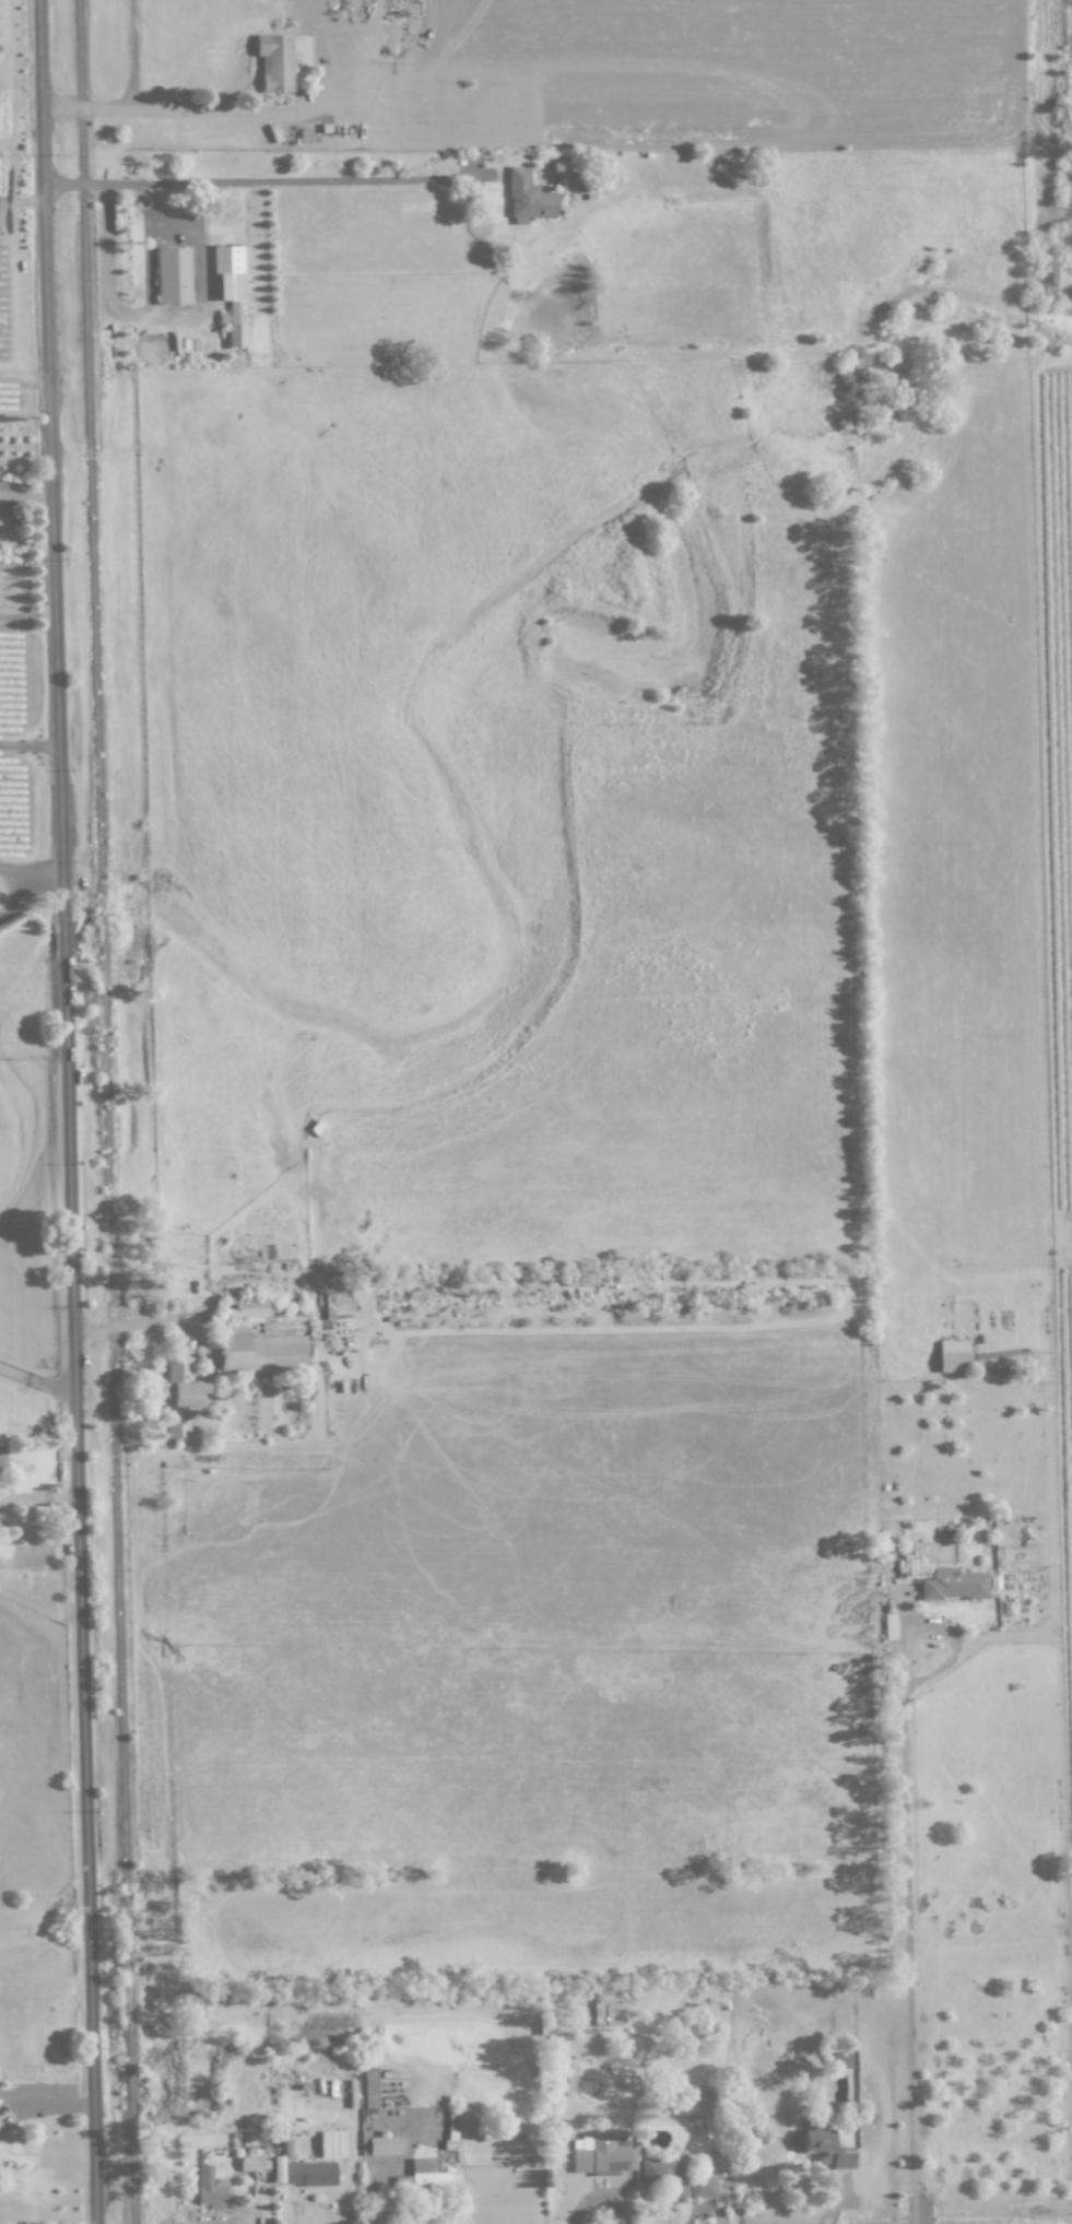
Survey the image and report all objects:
building: (274, 62)
road: (130, 99)
road: (279, 114)
road: (316, 181)
road: (92, 185)
road: (139, 199)
building: (526, 199)
road: (146, 264)
road: (106, 266)
road: (193, 271)
building: (172, 275)
building: (229, 289)
road: (26, 375)
road: (31, 746)
road: (33, 872)
road: (11, 896)
road: (73, 1111)
road: (215, 1290)
building: (247, 1311)
road: (95, 1328)
building: (258, 1353)
building: (952, 1356)
road: (15, 1372)
road: (56, 1386)
building: (180, 1398)
building: (2, 1461)
building: (952, 1586)
building: (888, 1627)
road: (943, 1628)
road: (906, 1955)
building: (613, 2008)
building: (839, 2060)
building: (369, 2088)
building: (330, 2144)
building: (376, 2145)
building: (826, 2150)
building: (249, 2162)
building: (279, 2164)
building: (308, 2174)
building: (427, 2175)
building: (674, 2179)
building: (209, 2189)

